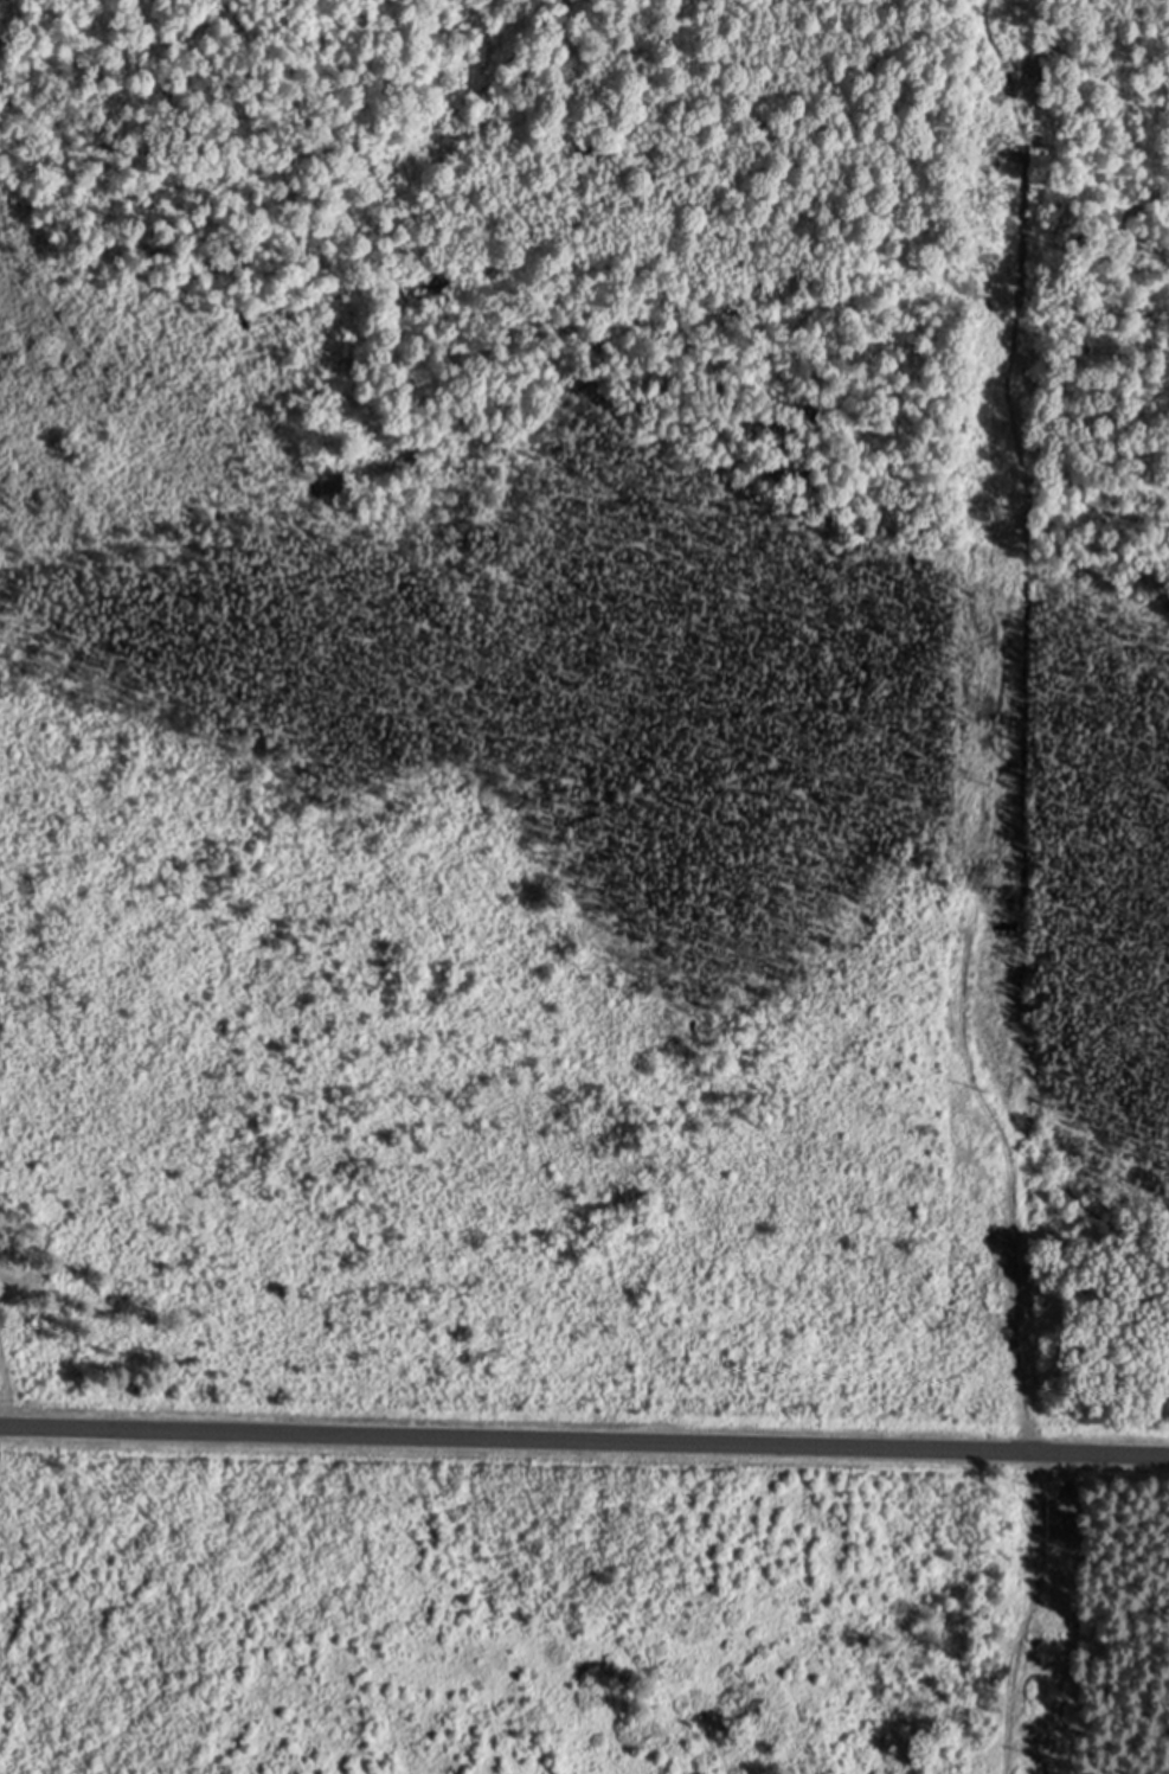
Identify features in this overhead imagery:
power tower: (1011, 201)
power tower: (1009, 486)
power tower: (1000, 1313)
road: (584, 1437)
power tower: (1064, 1486)
road: (1026, 1609)
power tower: (1056, 1756)

